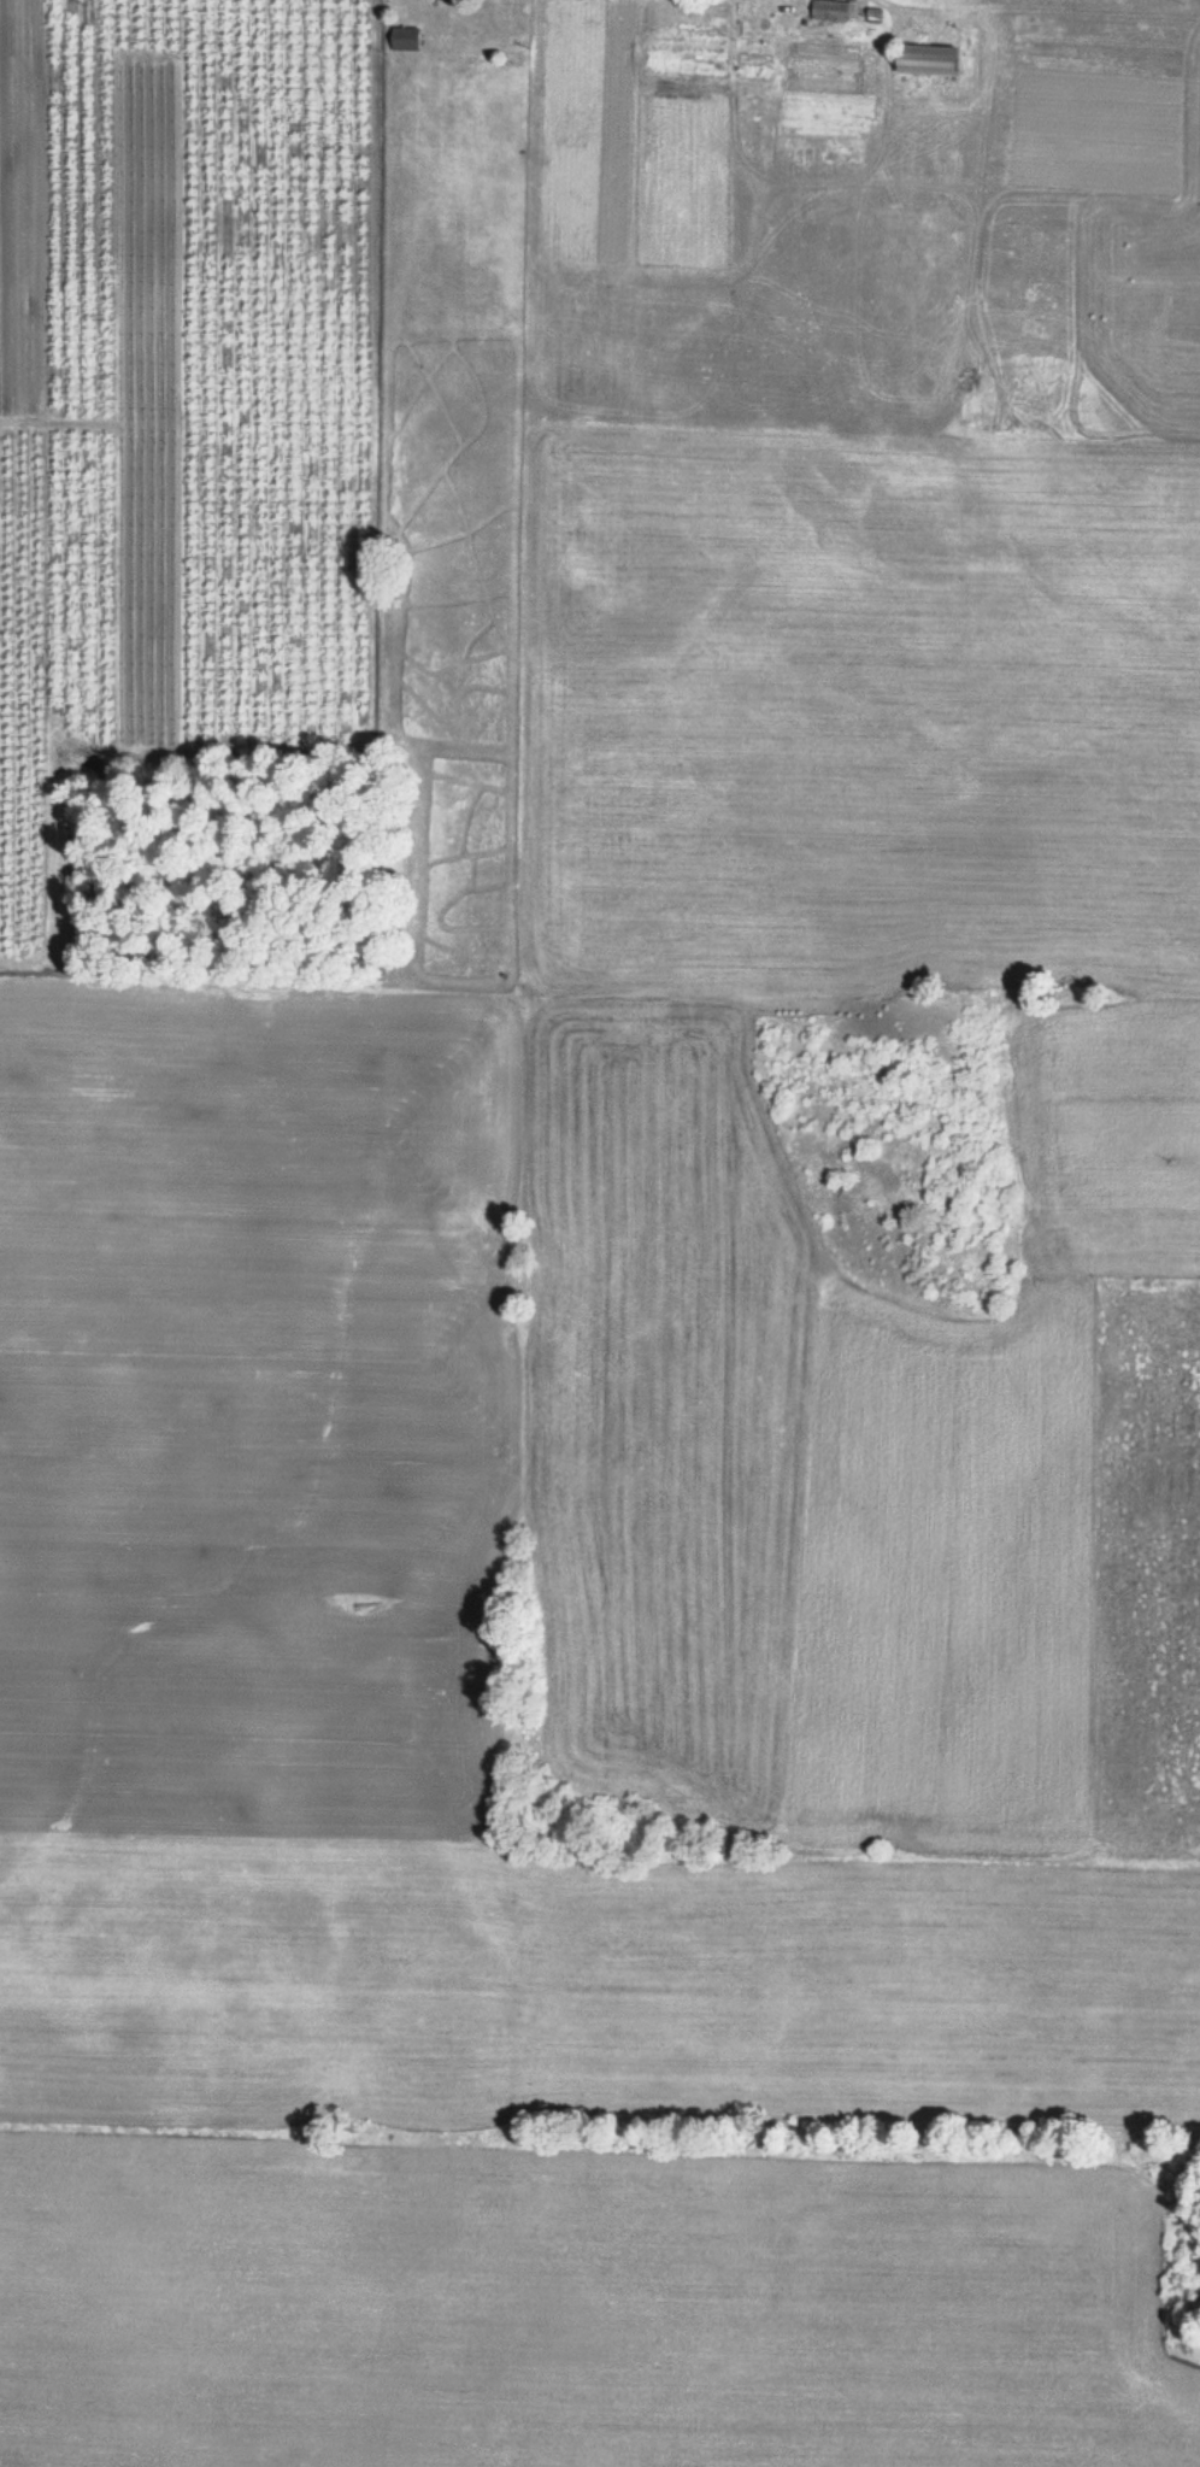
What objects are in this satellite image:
building: (829, 10)
building: (405, 37)
building: (927, 59)
building: (752, 60)

